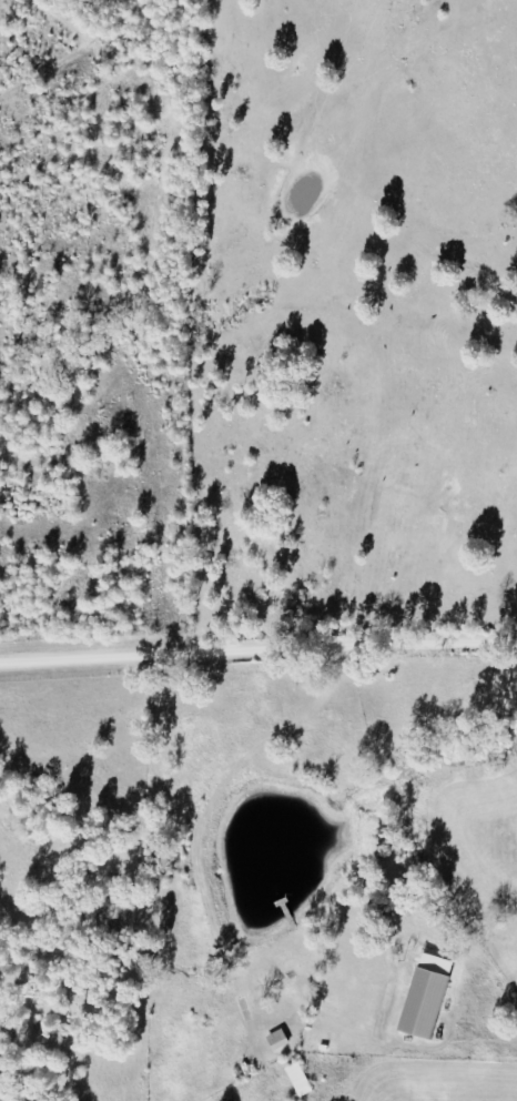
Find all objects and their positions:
road: (258, 643)
building: (423, 996)
building: (276, 1040)
building: (297, 1080)

